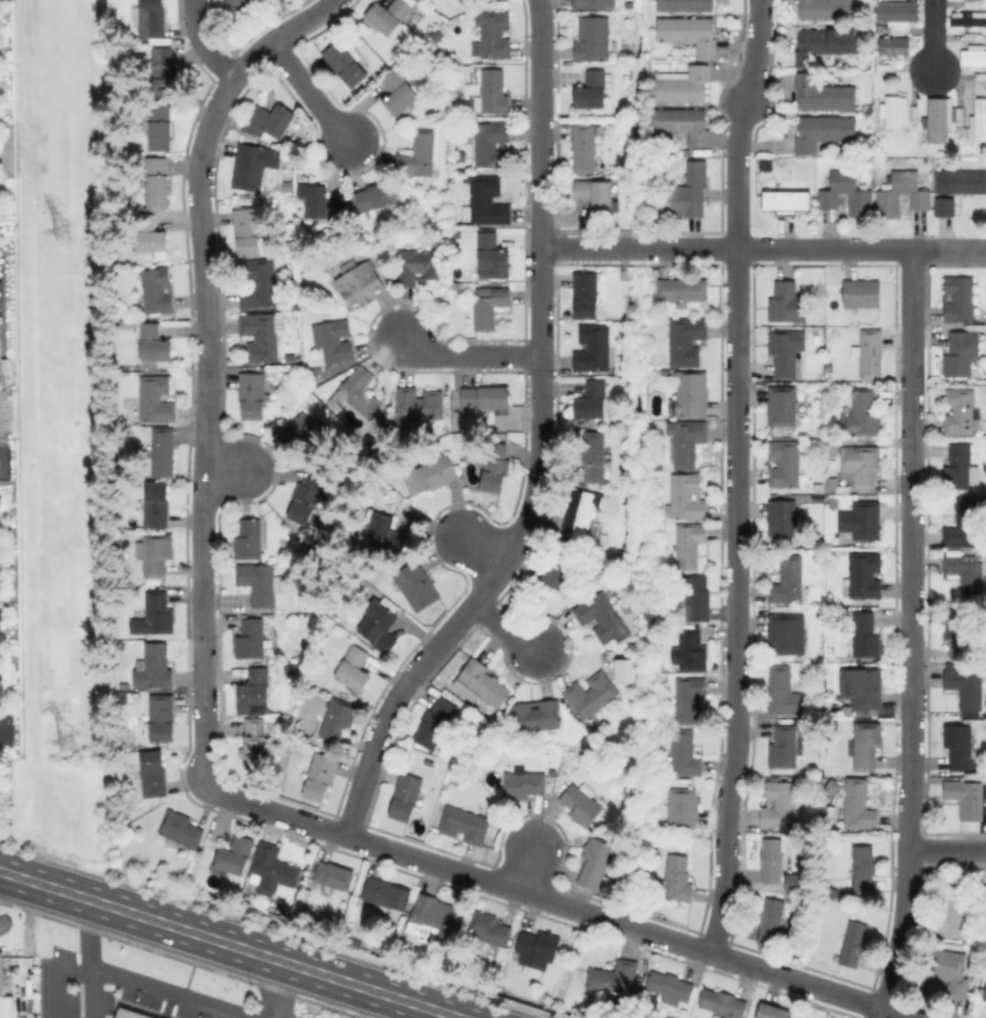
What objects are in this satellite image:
building: (974, 3)
building: (589, 4)
building: (685, 5)
building: (236, 8)
building: (828, 9)
building: (897, 14)
building: (388, 15)
building: (150, 18)
building: (968, 20)
building: (879, 28)
building: (689, 33)
building: (436, 35)
building: (494, 35)
building: (974, 36)
road: (934, 37)
building: (593, 39)
road: (202, 42)
building: (820, 43)
building: (429, 44)
building: (895, 50)
building: (974, 56)
building: (345, 63)
building: (163, 72)
building: (980, 75)
road: (751, 77)
building: (682, 86)
building: (592, 91)
building: (399, 92)
building: (493, 93)
road: (311, 94)
building: (824, 94)
building: (895, 110)
building: (939, 119)
building: (979, 119)
building: (268, 121)
building: (682, 124)
building: (160, 128)
building: (915, 128)
building: (823, 131)
building: (490, 143)
building: (2, 145)
building: (584, 148)
building: (419, 154)
building: (460, 156)
building: (249, 166)
building: (960, 181)
building: (158, 182)
building: (287, 184)
building: (689, 192)
building: (597, 195)
building: (376, 196)
road: (737, 198)
building: (860, 200)
building: (786, 201)
building: (321, 202)
building: (486, 202)
building: (886, 202)
building: (945, 206)
power tower: (61, 229)
building: (247, 231)
building: (150, 235)
road: (763, 248)
building: (492, 256)
building: (420, 266)
building: (359, 282)
building: (260, 284)
building: (682, 289)
building: (158, 291)
building: (861, 294)
building: (586, 296)
building: (958, 298)
building: (293, 303)
building: (788, 303)
building: (489, 306)
building: (261, 336)
building: (334, 340)
building: (685, 341)
building: (153, 344)
building: (593, 348)
road: (469, 353)
building: (788, 353)
building: (870, 353)
building: (959, 354)
road: (207, 371)
building: (360, 393)
building: (252, 394)
building: (692, 394)
building: (485, 397)
building: (156, 400)
building: (591, 401)
building: (417, 405)
building: (782, 405)
building: (961, 411)
building: (863, 413)
building: (499, 420)
building: (308, 436)
building: (687, 441)
road: (539, 444)
building: (830, 444)
building: (163, 452)
building: (594, 456)
building: (785, 463)
road: (225, 466)
building: (860, 466)
building: (495, 467)
building: (959, 467)
building: (432, 473)
building: (832, 485)
building: (306, 497)
building: (687, 497)
building: (1, 501)
building: (156, 504)
building: (582, 513)
building: (782, 517)
building: (861, 521)
building: (963, 524)
building: (384, 534)
building: (249, 539)
road: (479, 544)
building: (689, 545)
building: (155, 553)
building: (559, 571)
building: (966, 572)
building: (865, 575)
building: (2, 577)
building: (788, 581)
building: (260, 583)
building: (417, 586)
road: (736, 597)
building: (696, 599)
building: (602, 614)
building: (155, 616)
building: (1, 621)
building: (380, 628)
road: (512, 628)
building: (784, 632)
road: (913, 634)
building: (864, 635)
building: (958, 636)
building: (251, 639)
building: (121, 646)
building: (692, 649)
building: (153, 667)
building: (354, 667)
building: (622, 670)
building: (482, 683)
building: (866, 687)
building: (966, 687)
building: (255, 688)
building: (0, 692)
building: (786, 693)
building: (591, 694)
building: (689, 697)
building: (123, 698)
building: (537, 715)
building: (161, 718)
building: (338, 719)
building: (436, 722)
road: (0, 728)
power tower: (64, 740)
building: (255, 743)
building: (866, 744)
building: (959, 746)
building: (783, 747)
building: (684, 753)
building: (153, 771)
building: (320, 776)
building: (523, 784)
building: (406, 797)
building: (966, 797)
building: (582, 804)
building: (858, 804)
building: (780, 805)
building: (682, 807)
building: (465, 824)
building: (180, 829)
road: (947, 849)
road: (404, 851)
building: (235, 855)
building: (773, 863)
road: (525, 864)
building: (597, 865)
building: (864, 867)
building: (273, 869)
road: (1, 872)
building: (334, 876)
building: (678, 878)
building: (791, 882)
building: (386, 894)
building: (956, 910)
road: (601, 912)
building: (433, 920)
building: (770, 920)
building: (488, 929)
building: (854, 944)
road: (229, 945)
building: (538, 949)
road: (88, 959)
road: (767, 967)
building: (951, 971)
building: (614, 977)
building: (671, 986)
road: (282, 991)
road: (162, 993)
building: (985, 995)
building: (5, 996)
building: (723, 1003)
building: (773, 1012)
building: (126, 1014)

